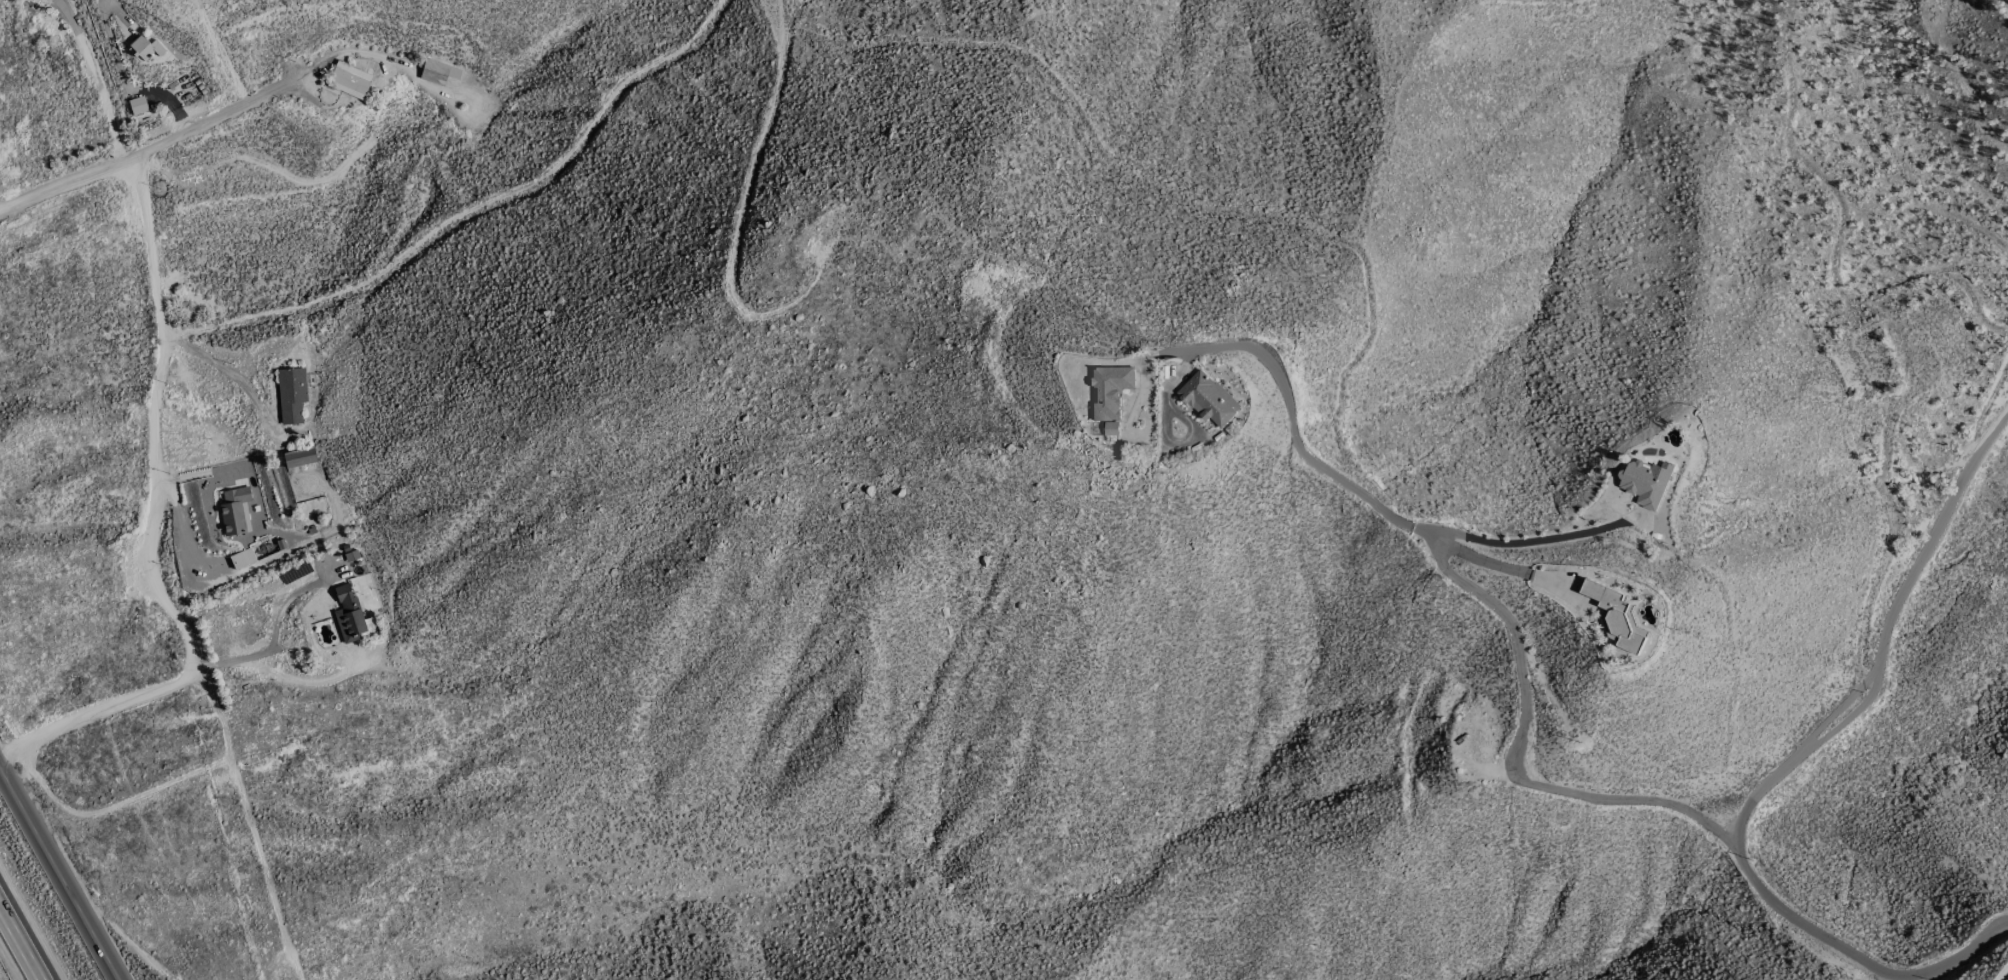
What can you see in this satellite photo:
building: (145, 46)
building: (437, 72)
building: (349, 80)
road: (100, 83)
building: (137, 105)
road: (146, 153)
road: (228, 372)
building: (1109, 390)
building: (291, 395)
building: (1208, 399)
building: (1111, 428)
road: (1297, 435)
building: (299, 458)
building: (1645, 482)
building: (236, 525)
road: (157, 526)
road: (182, 539)
road: (1539, 540)
building: (354, 607)
building: (1616, 617)
road: (270, 645)
road: (1514, 756)
road: (1783, 769)
road: (251, 824)
road: (58, 876)
road: (22, 940)
road: (2004, 975)

